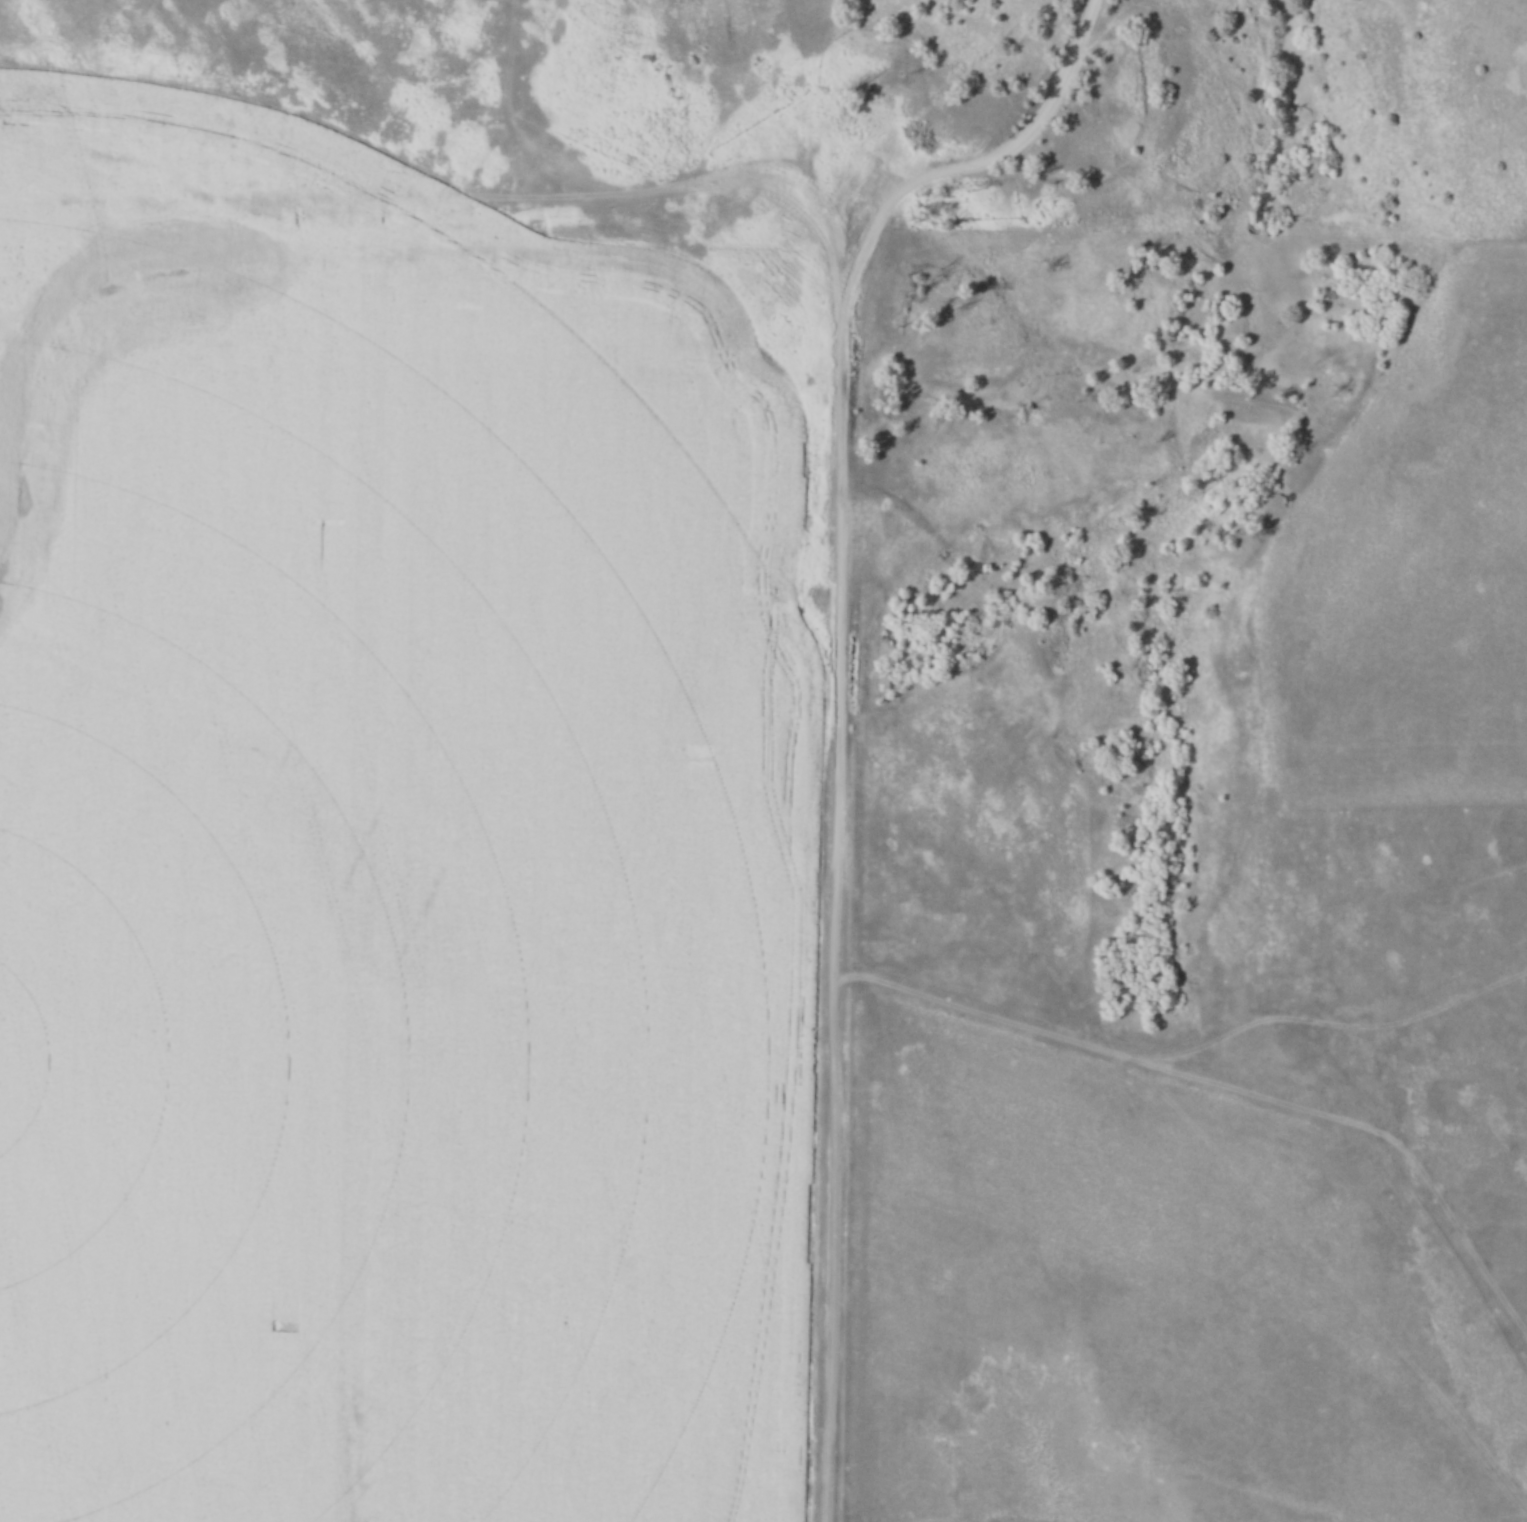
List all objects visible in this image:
road: (475, 228)
road: (834, 904)

